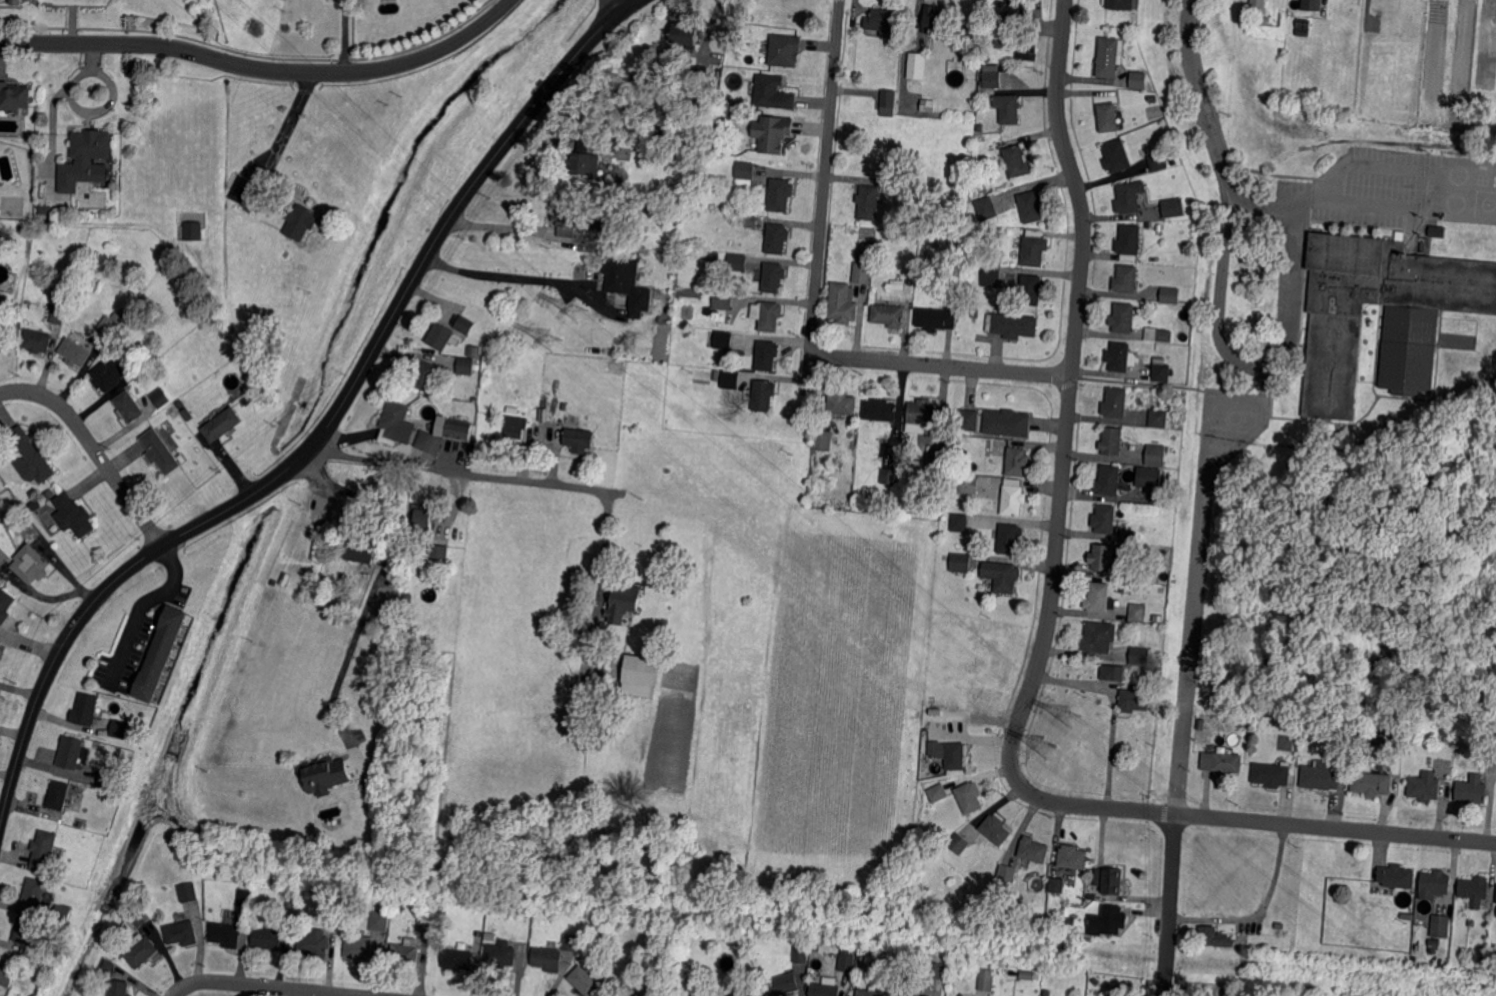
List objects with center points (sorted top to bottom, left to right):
building: (15, 1)
road: (621, 3)
building: (1120, 4)
building: (1310, 4)
building: (1323, 4)
building: (1256, 6)
building: (1267, 7)
building: (1011, 13)
building: (1274, 18)
building: (935, 19)
building: (883, 21)
building: (988, 23)
road: (708, 29)
building: (1302, 32)
building: (686, 34)
building: (999, 44)
building: (1029, 49)
building: (782, 50)
road: (903, 52)
building: (1109, 56)
road: (264, 66)
building: (916, 67)
road: (833, 70)
building: (701, 73)
building: (991, 78)
building: (1138, 79)
building: (771, 93)
building: (14, 98)
road: (1201, 99)
building: (888, 102)
building: (722, 103)
building: (928, 104)
building: (1009, 108)
road: (291, 114)
building: (1108, 117)
building: (770, 133)
building: (608, 145)
building: (1116, 156)
building: (84, 158)
building: (584, 161)
building: (1017, 161)
building: (1158, 161)
building: (744, 174)
road: (1422, 178)
building: (115, 186)
building: (248, 191)
building: (982, 193)
building: (779, 195)
building: (1129, 197)
building: (869, 202)
building: (1032, 206)
building: (986, 208)
building: (1173, 208)
building: (920, 209)
building: (46, 211)
building: (300, 221)
building: (567, 221)
building: (598, 221)
building: (749, 221)
building: (176, 222)
building: (1148, 226)
building: (880, 231)
building: (1437, 231)
building: (193, 232)
building: (776, 238)
building: (1129, 239)
road: (819, 248)
building: (1035, 249)
building: (712, 257)
building: (737, 262)
building: (862, 272)
road: (503, 274)
building: (991, 276)
building: (772, 278)
building: (1126, 279)
building: (630, 286)
building: (952, 289)
building: (1031, 289)
building: (690, 293)
building: (1170, 295)
building: (872, 299)
building: (723, 301)
building: (840, 303)
power tower: (579, 308)
building: (124, 313)
building: (57, 315)
building: (766, 315)
building: (889, 315)
building: (119, 318)
building: (936, 318)
building: (1122, 318)
building: (466, 325)
building: (1012, 325)
building: (107, 327)
building: (1157, 335)
building: (441, 336)
building: (721, 338)
power tower: (551, 339)
building: (37, 341)
building: (1408, 349)
road: (1285, 350)
building: (474, 351)
building: (75, 353)
building: (766, 356)
building: (1118, 357)
building: (537, 365)
road: (941, 365)
building: (464, 367)
building: (1161, 372)
building: (425, 376)
building: (716, 376)
building: (110, 377)
building: (730, 380)
building: (763, 395)
building: (161, 398)
building: (1116, 402)
building: (180, 403)
building: (842, 403)
building: (565, 405)
building: (128, 409)
building: (616, 409)
building: (880, 410)
building: (173, 412)
building: (923, 416)
building: (1159, 417)
building: (969, 418)
building: (629, 421)
building: (394, 422)
building: (1007, 422)
building: (852, 423)
building: (222, 425)
building: (516, 425)
road: (324, 427)
building: (459, 428)
building: (580, 439)
building: (824, 439)
building: (954, 440)
building: (966, 442)
building: (1111, 442)
building: (429, 443)
road: (93, 447)
road: (1232, 447)
building: (161, 452)
building: (1155, 454)
building: (29, 457)
building: (1017, 461)
building: (934, 468)
road: (460, 470)
building: (890, 476)
building: (1150, 477)
building: (1108, 481)
building: (967, 485)
building: (34, 494)
building: (51, 495)
building: (1013, 498)
building: (34, 505)
building: (905, 512)
building: (72, 515)
road: (398, 518)
building: (1105, 518)
building: (423, 522)
building: (959, 522)
building: (1129, 535)
building: (1010, 538)
building: (320, 541)
building: (360, 549)
building: (439, 551)
building: (333, 553)
building: (3, 557)
building: (944, 557)
building: (1102, 558)
building: (961, 562)
building: (30, 564)
building: (1142, 572)
building: (1002, 574)
building: (1098, 597)
building: (388, 599)
building: (407, 601)
building: (623, 602)
building: (450, 603)
road: (137, 605)
building: (6, 606)
building: (1138, 612)
building: (389, 622)
road: (1046, 634)
building: (1098, 637)
road: (1191, 645)
building: (161, 653)
building: (1134, 660)
building: (1112, 673)
building: (640, 674)
road: (332, 691)
building: (1134, 700)
road: (1112, 709)
building: (86, 710)
power tower: (1069, 716)
building: (1239, 724)
building: (1287, 726)
building: (118, 728)
building: (1315, 732)
building: (1376, 736)
building: (1446, 740)
building: (1340, 744)
power tower: (1046, 748)
building: (949, 753)
building: (1491, 754)
building: (71, 755)
building: (924, 763)
building: (1221, 763)
building: (1271, 775)
building: (325, 776)
building: (1321, 776)
building: (108, 780)
building: (1371, 783)
building: (1424, 787)
building: (937, 793)
building: (1472, 793)
building: (59, 797)
building: (968, 797)
building: (994, 830)
building: (957, 842)
building: (1033, 849)
building: (45, 854)
building: (1072, 857)
building: (1006, 873)
building: (1396, 876)
building: (1109, 879)
building: (1435, 882)
building: (1057, 884)
building: (1474, 890)
building: (188, 893)
building: (36, 894)
building: (246, 897)
building: (1092, 897)
building: (1495, 897)
road: (1170, 905)
building: (400, 906)
building: (1411, 910)
road: (1260, 912)
building: (64, 914)
building: (1406, 916)
building: (140, 919)
building: (381, 921)
building: (1106, 921)
building: (1471, 923)
building: (49, 925)
building: (1440, 926)
building: (425, 927)
building: (29, 933)
building: (182, 934)
building: (225, 935)
building: (1214, 936)
building: (599, 937)
building: (269, 938)
building: (570, 942)
building: (850, 942)
building: (1435, 944)
building: (315, 945)
building: (361, 947)
building: (142, 953)
building: (501, 953)
building: (406, 955)
building: (548, 958)
building: (805, 959)
building: (834, 959)
building: (1481, 959)
building: (458, 960)
building: (862, 960)
building: (846, 963)
building: (109, 965)
building: (5, 971)
building: (936, 971)
building: (1028, 974)
building: (757, 976)
building: (1232, 979)
building: (588, 980)
building: (959, 980)
building: (986, 980)
building: (906, 981)
building: (783, 985)
building: (1065, 985)
road: (260, 987)
building: (119, 988)
building: (825, 988)
building: (745, 989)
building: (962, 992)
building: (701, 993)
building: (871, 993)
building: (907, 995)
building: (926, 995)

